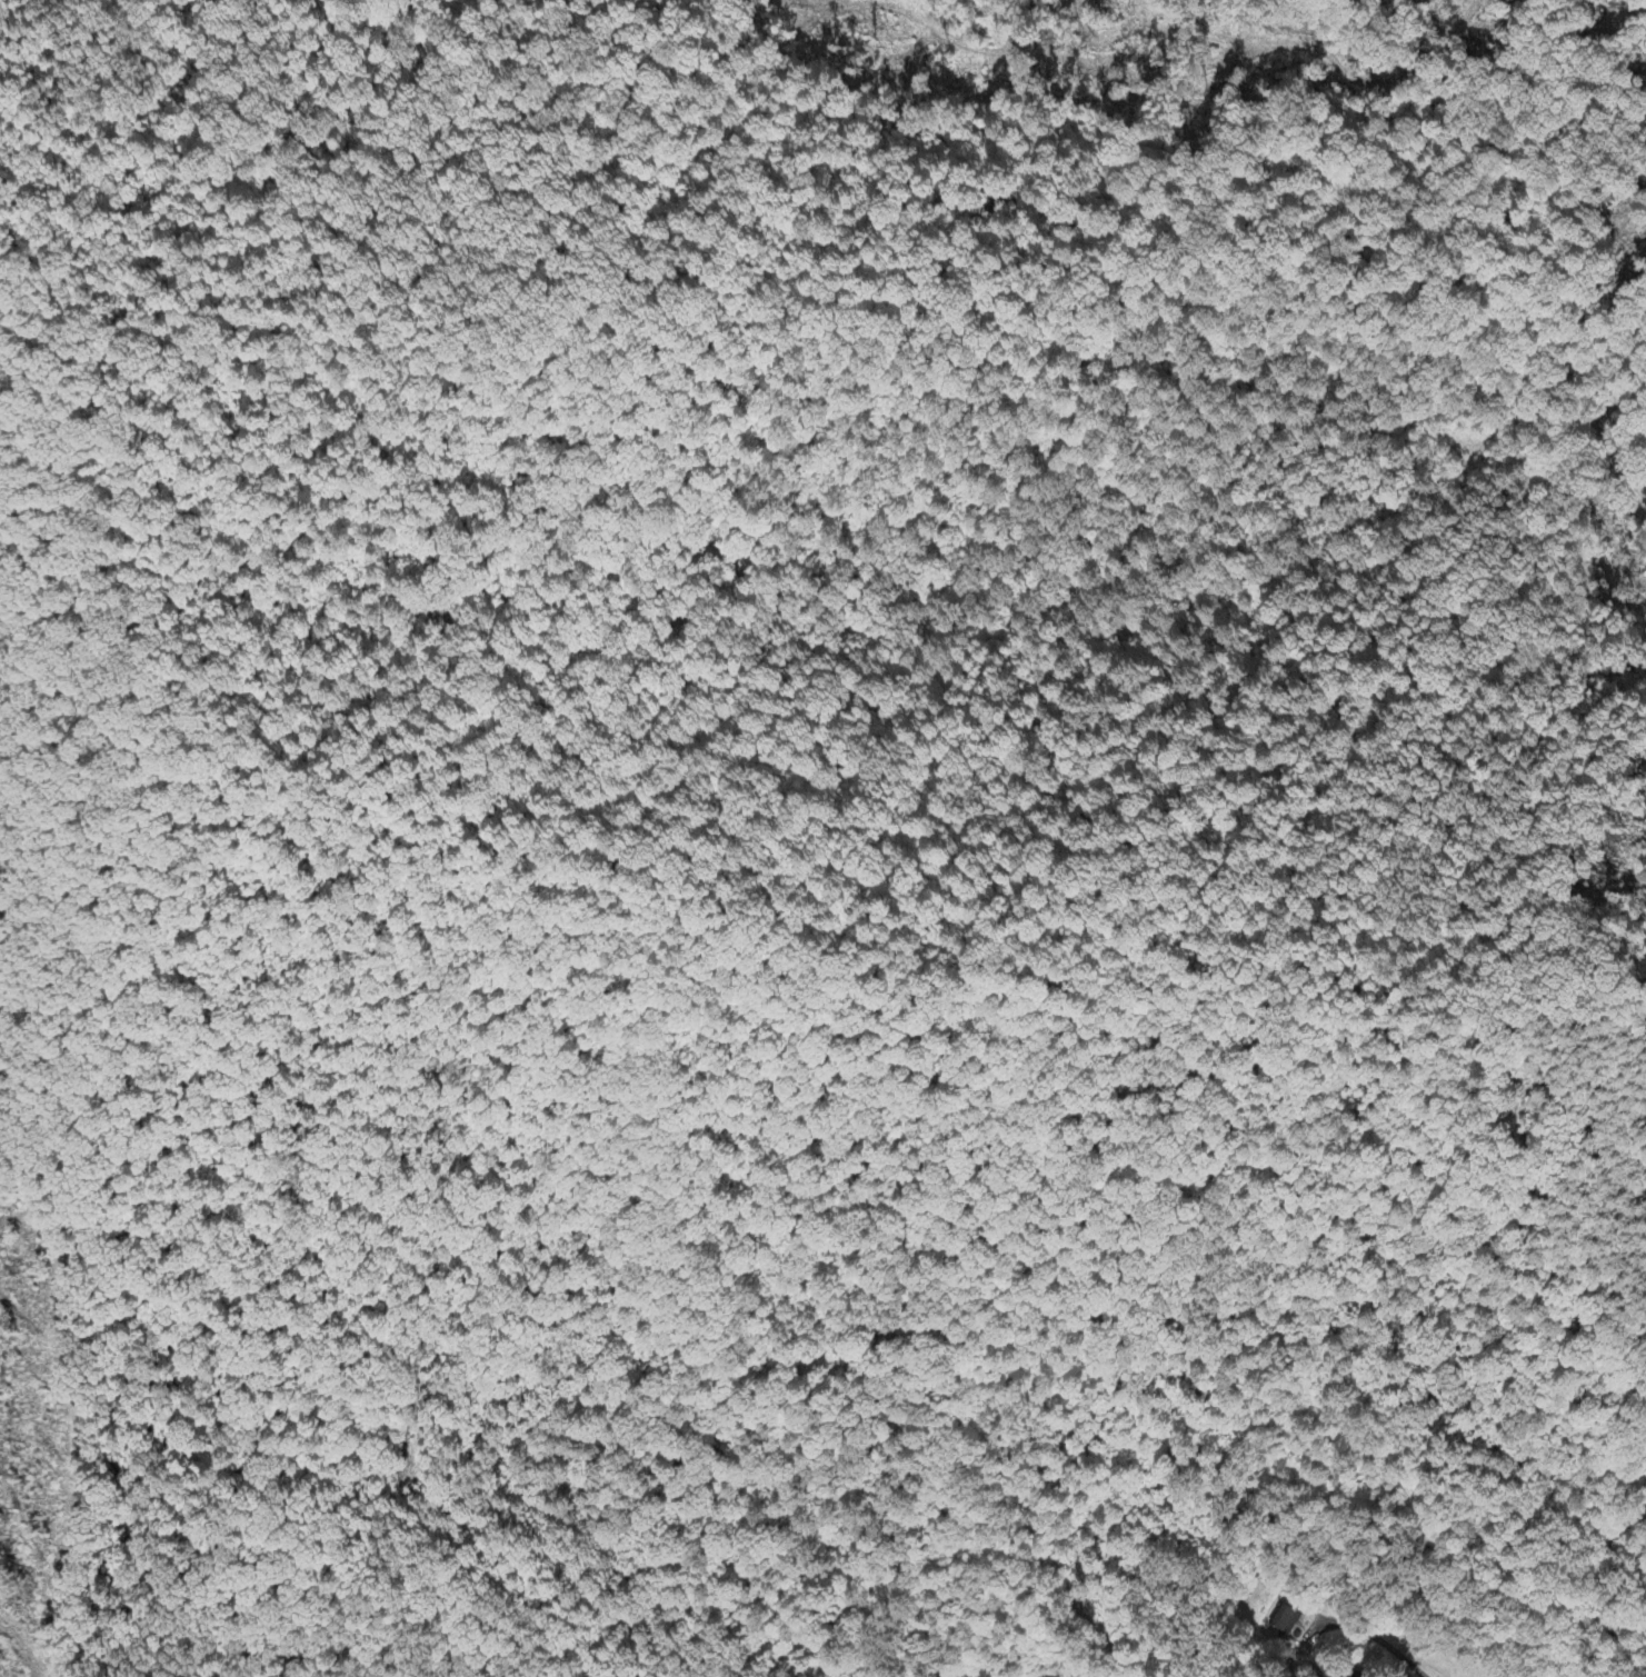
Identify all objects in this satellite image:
building: (1284, 1620)
road: (1383, 1648)

